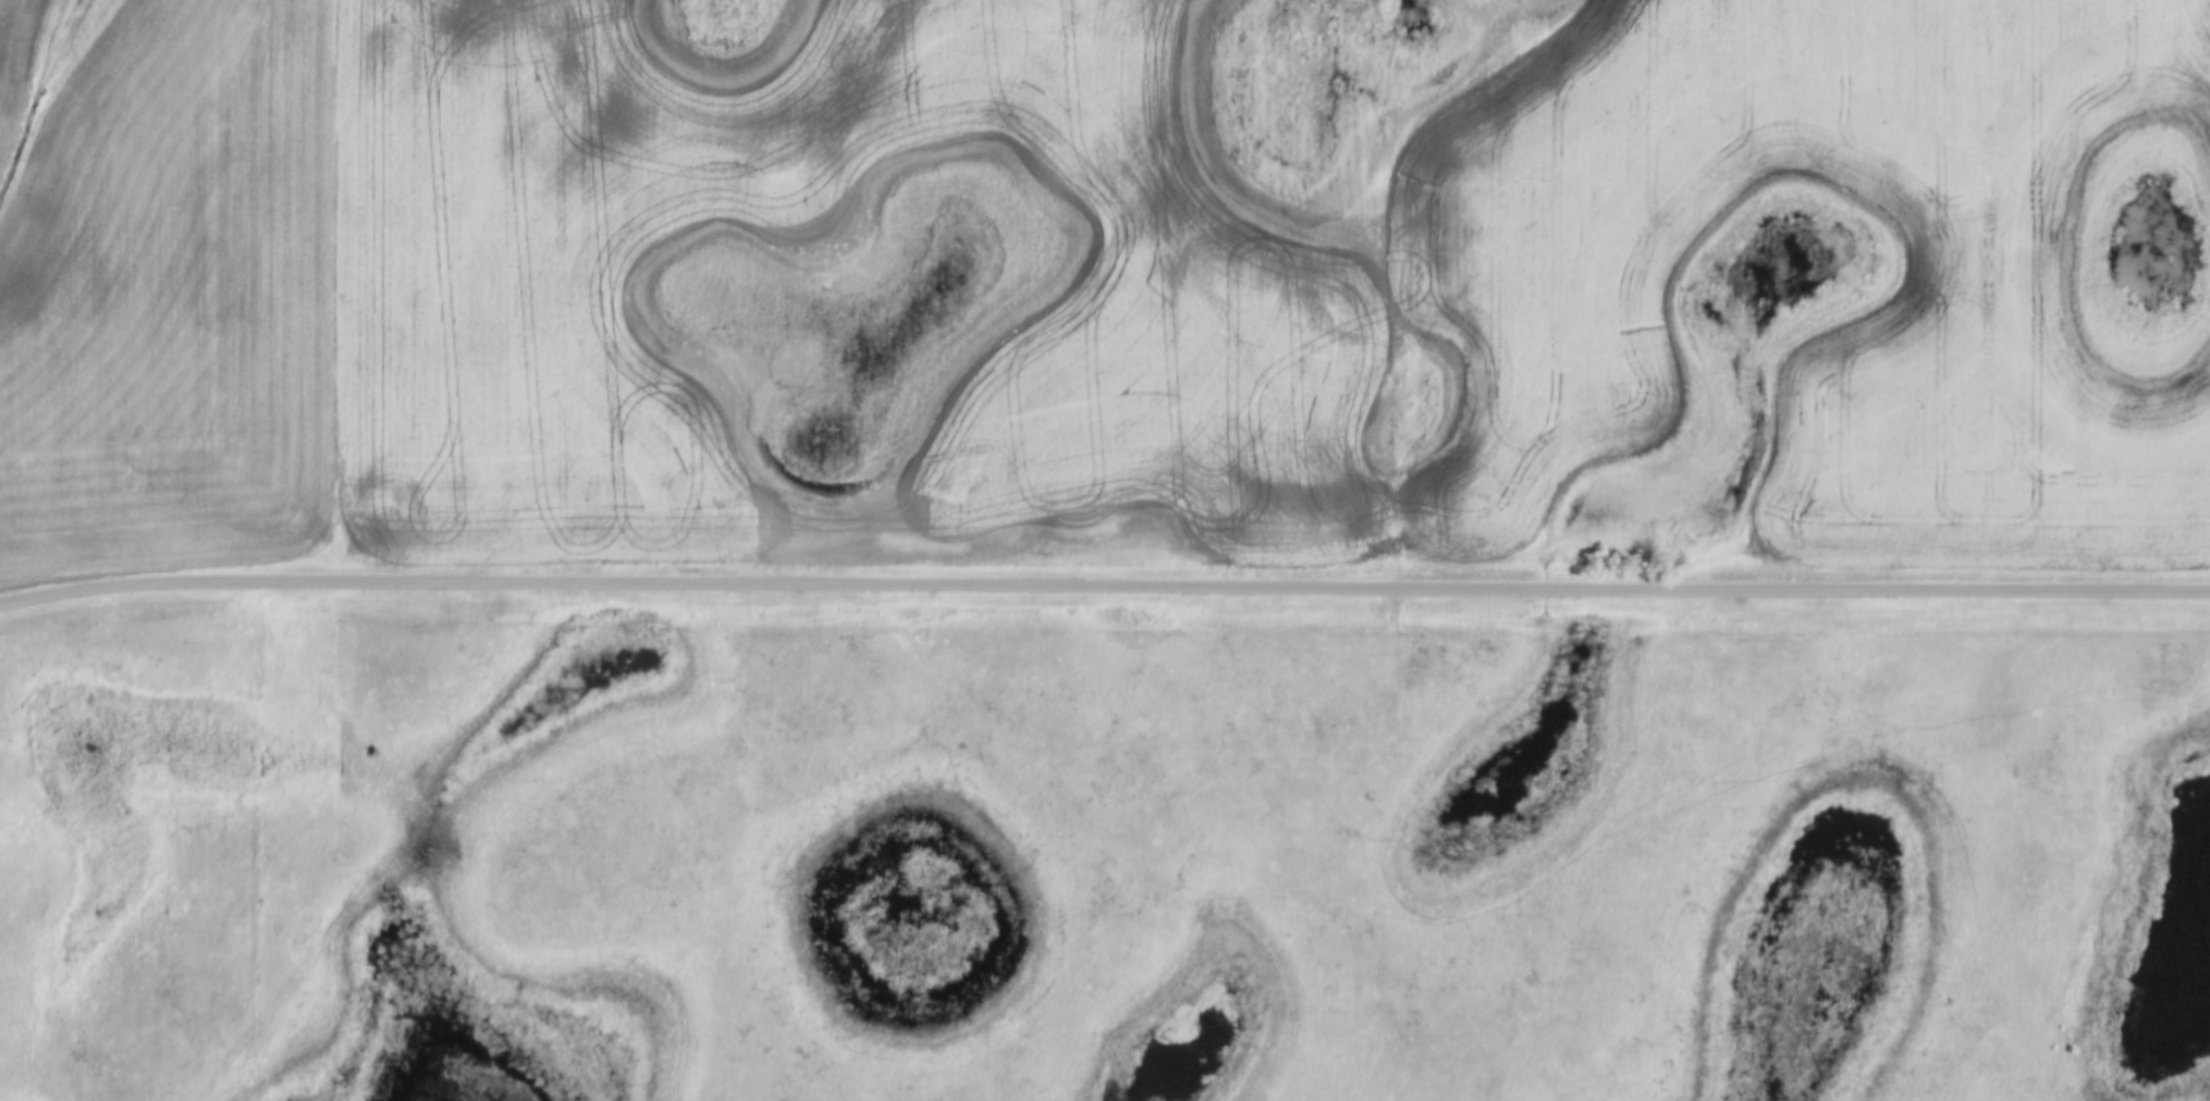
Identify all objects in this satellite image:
road: (1104, 592)

